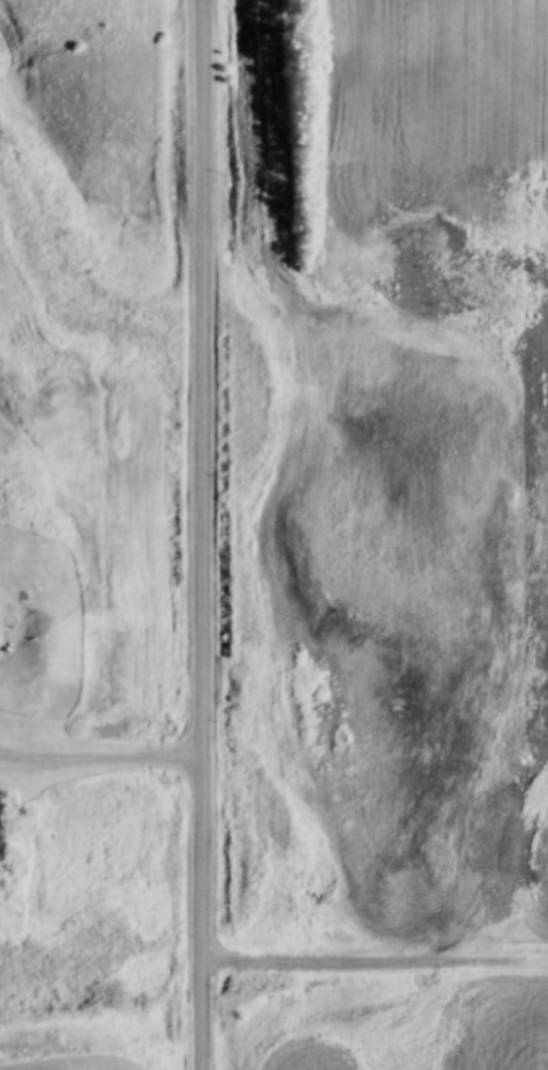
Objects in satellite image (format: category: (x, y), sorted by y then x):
road: (204, 534)
road: (102, 756)
road: (376, 959)

